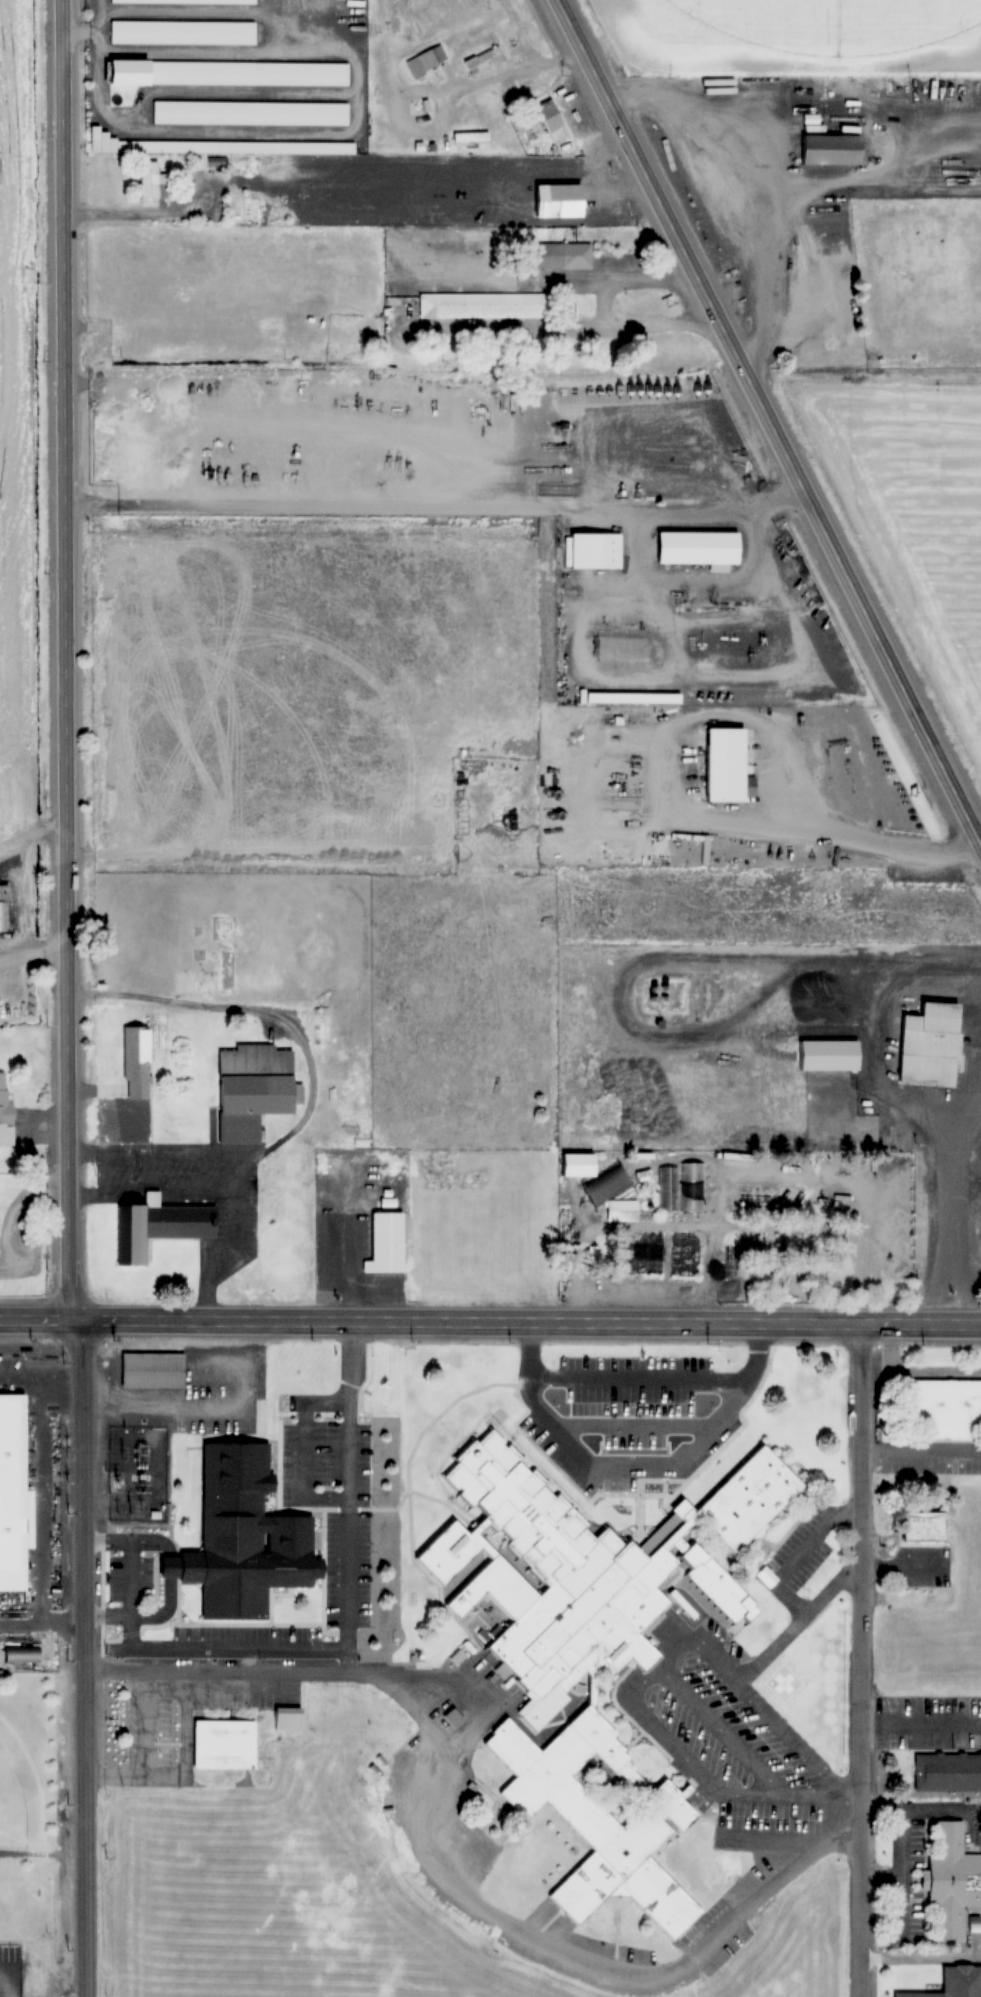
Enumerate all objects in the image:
building: (184, 1)
building: (182, 32)
building: (425, 61)
building: (484, 61)
building: (184, 72)
building: (203, 112)
building: (550, 116)
building: (97, 138)
building: (195, 146)
building: (827, 150)
building: (152, 180)
building: (561, 201)
building: (566, 256)
building: (487, 306)
road: (767, 422)
building: (700, 547)
building: (597, 550)
road: (66, 659)
building: (727, 766)
building: (4, 908)
building: (930, 1045)
building: (829, 1055)
building: (137, 1062)
building: (254, 1089)
building: (6, 1114)
road: (168, 1159)
building: (596, 1176)
building: (682, 1189)
road: (221, 1192)
building: (758, 1192)
building: (762, 1209)
building: (625, 1210)
building: (185, 1221)
building: (132, 1235)
building: (386, 1243)
road: (490, 1320)
building: (221, 1367)
building: (153, 1370)
building: (297, 1370)
road: (639, 1374)
building: (945, 1409)
road: (634, 1425)
road: (303, 1451)
road: (921, 1454)
road: (632, 1465)
building: (14, 1489)
building: (924, 1527)
building: (242, 1569)
road: (169, 1580)
road: (776, 1585)
road: (323, 1648)
building: (589, 1648)
building: (23, 1654)
road: (78, 1657)
road: (862, 1659)
road: (348, 1661)
road: (244, 1673)
helipad: (787, 1682)
road: (222, 1689)
road: (407, 1706)
road: (637, 1708)
building: (454, 1718)
building: (288, 1719)
road: (921, 1722)
road: (785, 1729)
road: (726, 1734)
building: (224, 1742)
road: (184, 1753)
road: (145, 1758)
building: (946, 1772)
park: (10, 1806)
road: (810, 1843)
building: (477, 1844)
building: (951, 1881)
road: (529, 1941)

